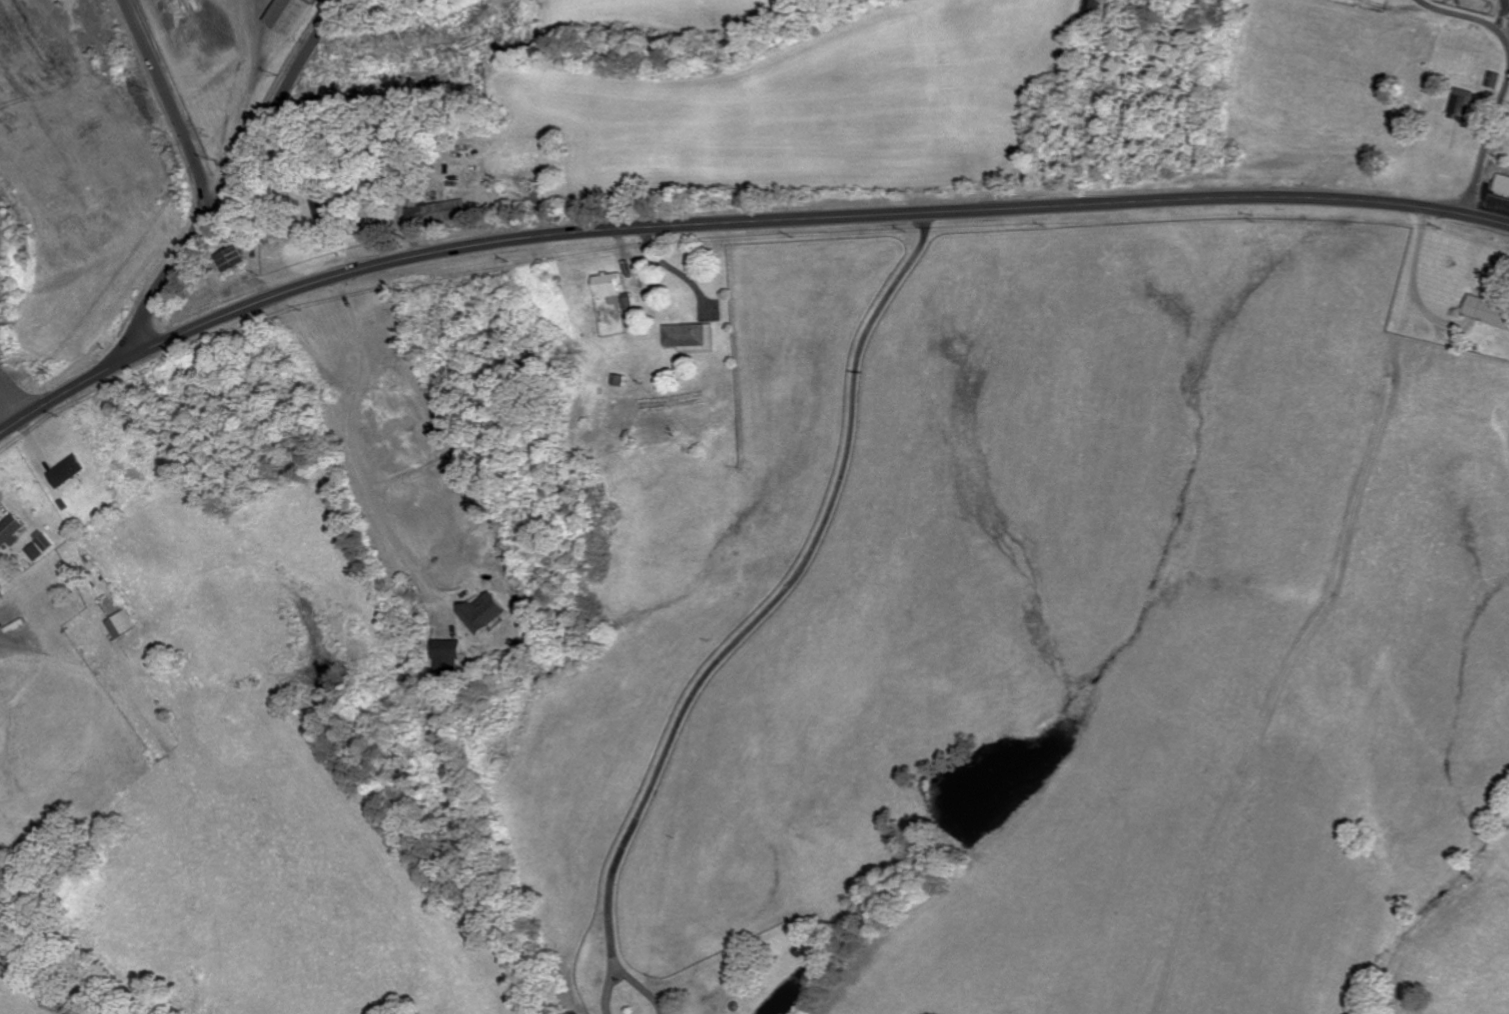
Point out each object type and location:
road: (1470, 14)
building: (291, 16)
building: (1495, 79)
road: (277, 104)
building: (1463, 104)
road: (171, 105)
road: (1490, 139)
building: (1503, 185)
parking lot: (1494, 201)
road: (1491, 209)
road: (735, 221)
building: (234, 259)
road: (1419, 280)
road: (171, 282)
building: (610, 287)
building: (1489, 312)
building: (693, 338)
road: (9, 400)
road: (355, 451)
building: (70, 472)
building: (12, 533)
building: (48, 543)
building: (38, 553)
road: (774, 593)
building: (484, 614)
building: (126, 625)
building: (451, 658)
road: (613, 969)

